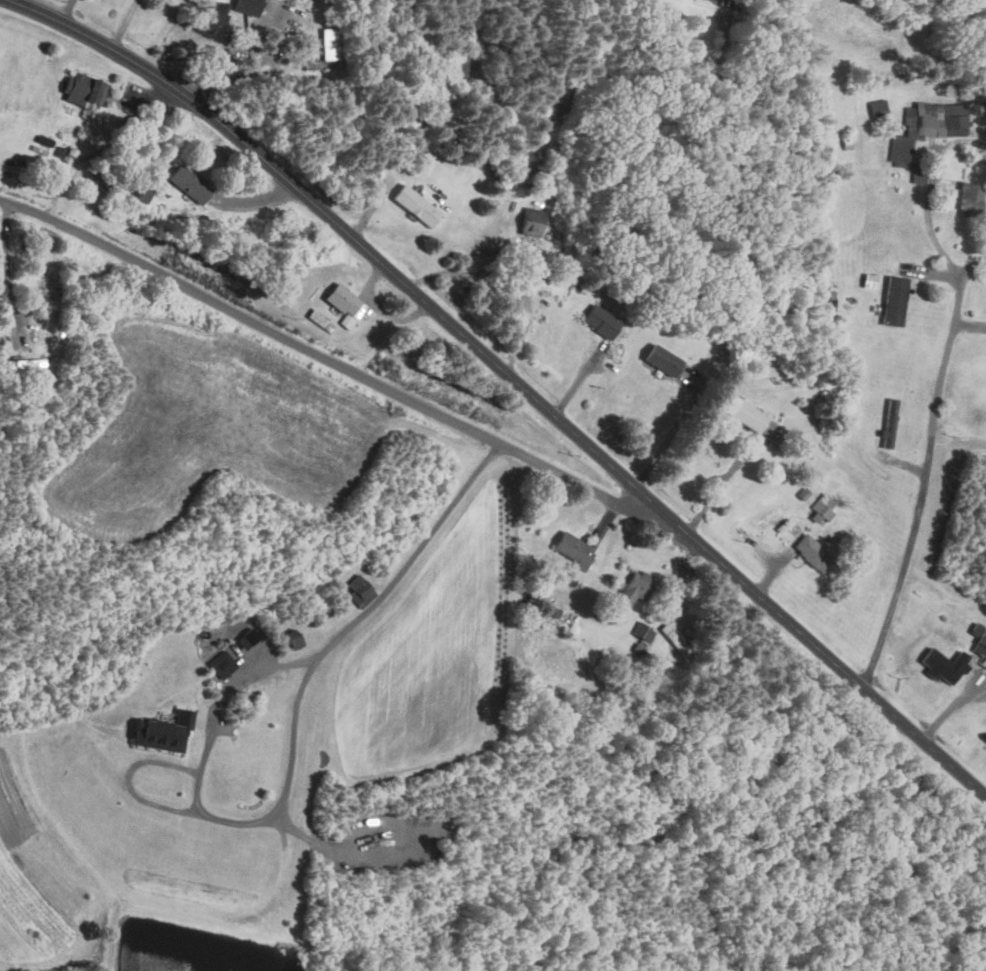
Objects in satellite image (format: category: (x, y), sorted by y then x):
building: (246, 6)
building: (211, 18)
building: (329, 42)
building: (459, 67)
building: (84, 89)
building: (878, 107)
building: (927, 125)
building: (188, 182)
building: (141, 191)
building: (970, 198)
building: (415, 204)
building: (531, 220)
road: (137, 264)
building: (894, 299)
building: (344, 303)
building: (319, 318)
building: (601, 320)
building: (662, 359)
building: (24, 362)
road: (513, 378)
building: (752, 417)
building: (889, 422)
road: (470, 431)
road: (931, 474)
building: (822, 508)
building: (740, 529)
building: (573, 548)
building: (812, 552)
building: (635, 586)
building: (359, 590)
building: (552, 610)
building: (642, 630)
building: (293, 638)
building: (981, 643)
building: (221, 663)
building: (944, 664)
building: (162, 731)

